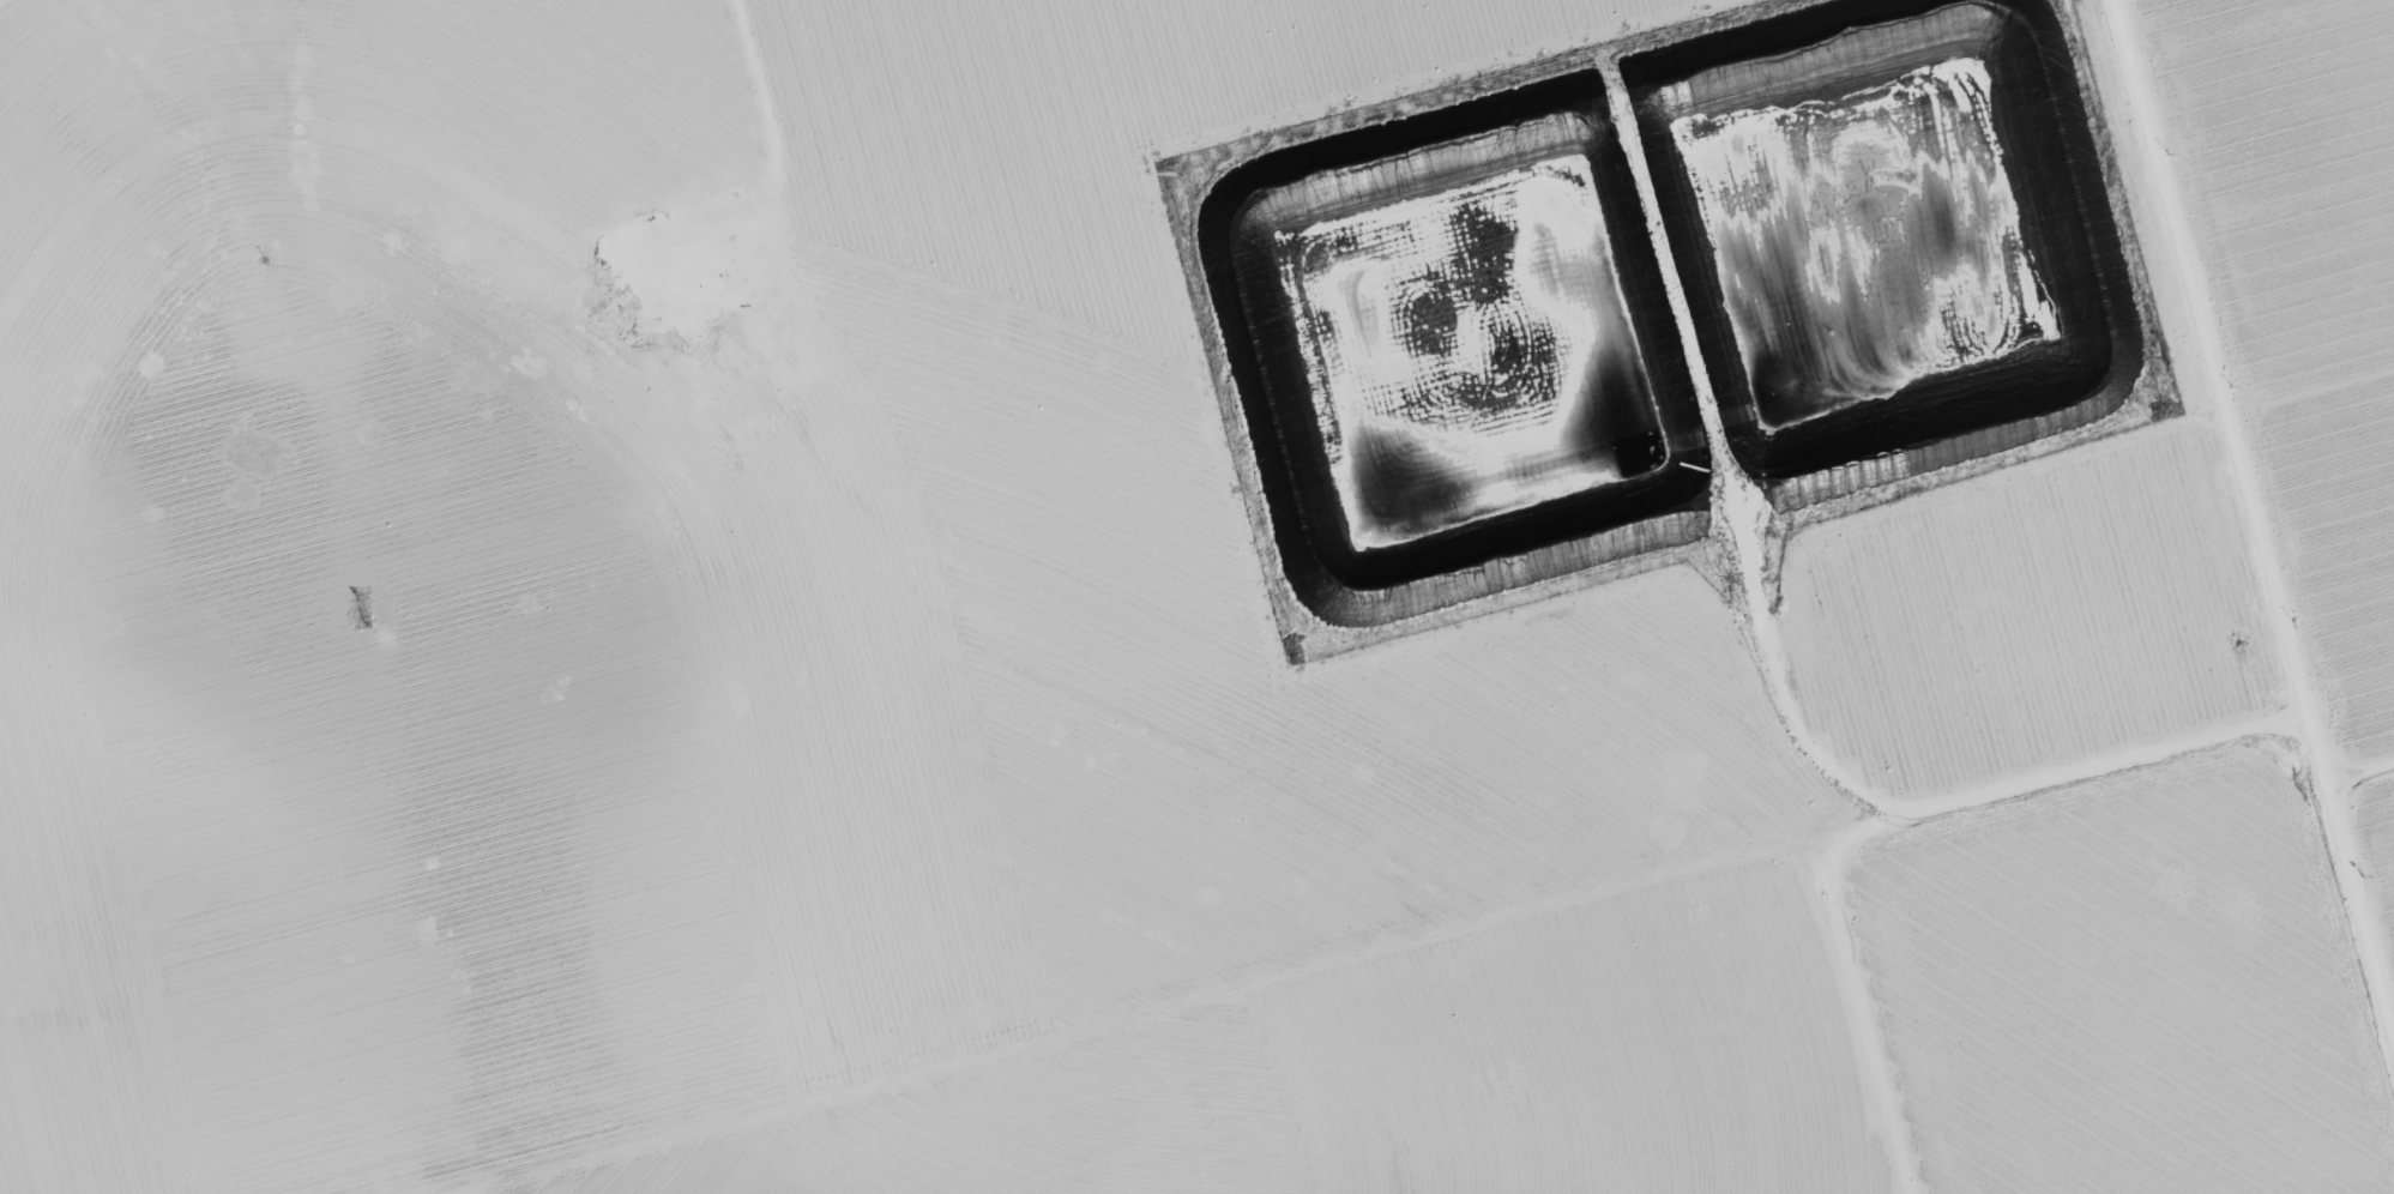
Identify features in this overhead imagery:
road: (2257, 495)
road: (1451, 947)
road: (1841, 1042)

